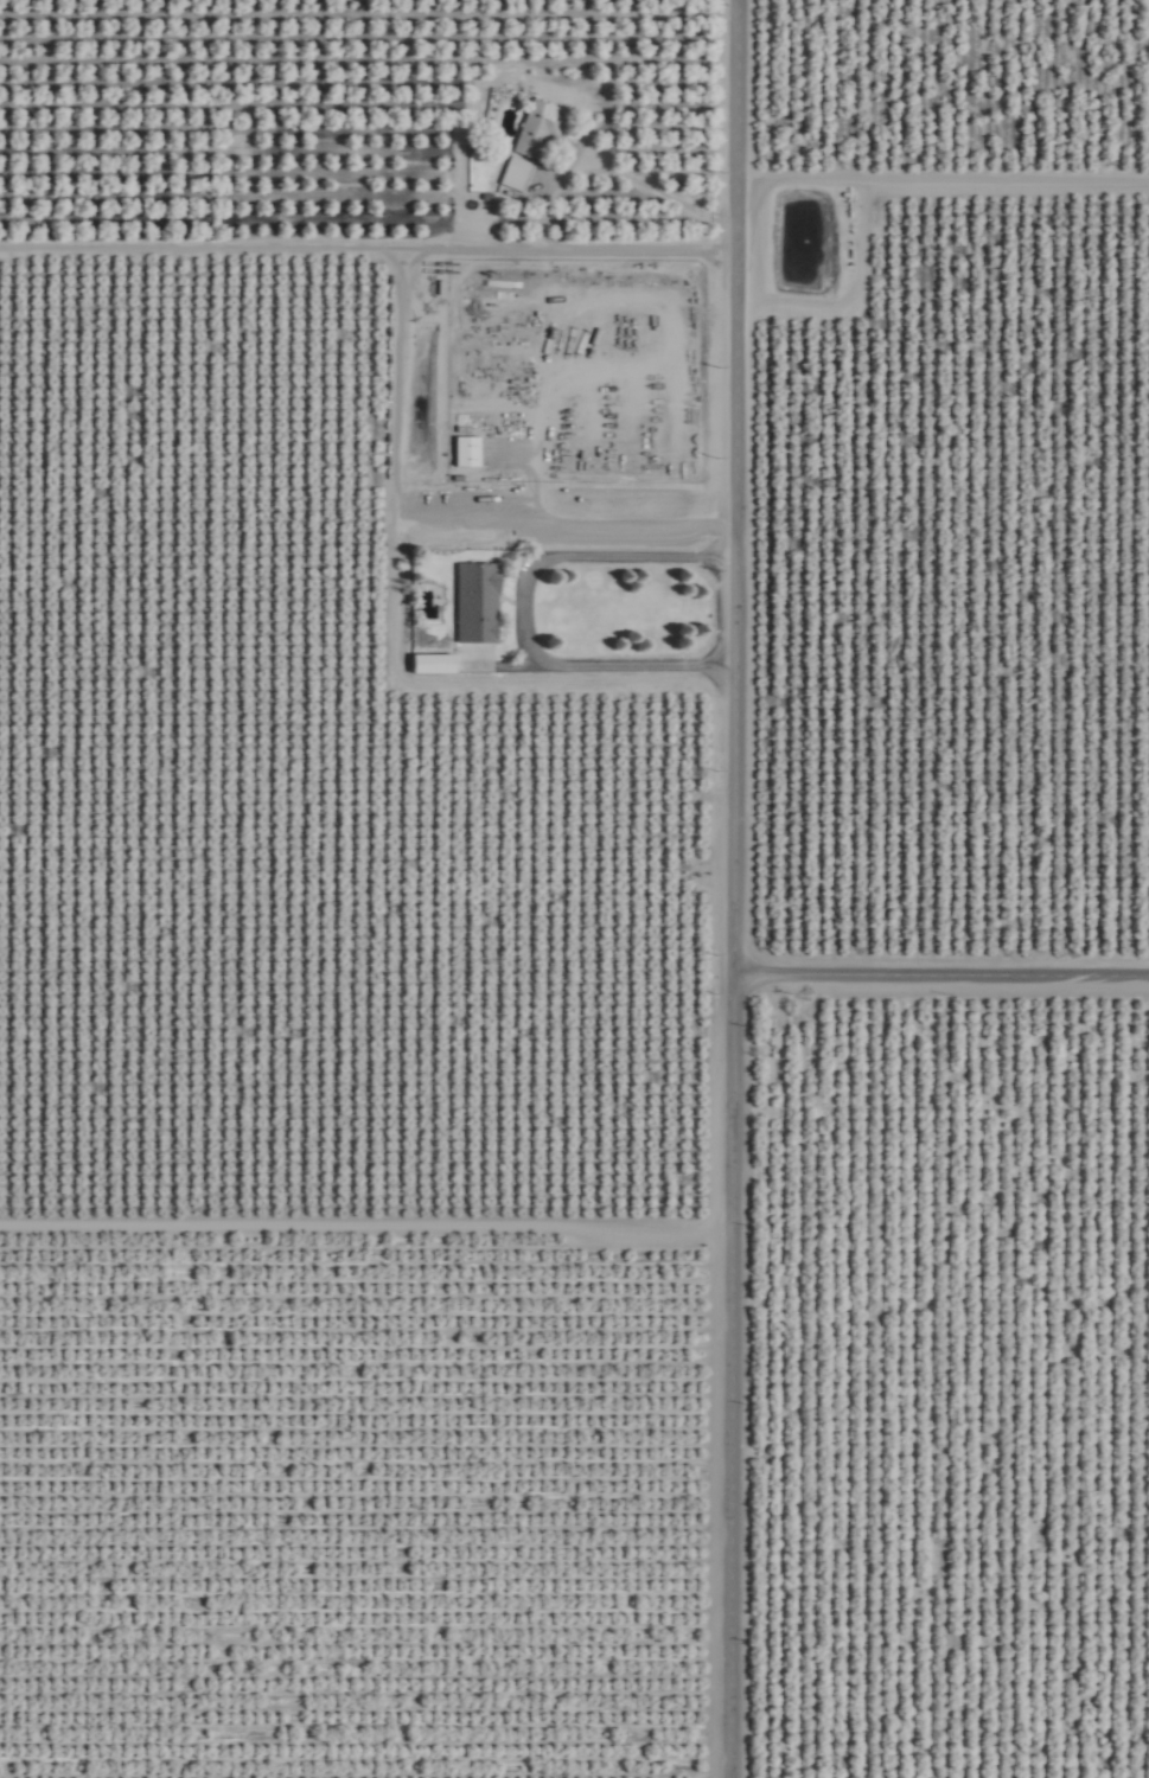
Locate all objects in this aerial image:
building: (542, 129)
building: (519, 173)
road: (1009, 180)
road: (809, 184)
road: (374, 256)
road: (858, 295)
road: (554, 523)
building: (479, 602)
road: (526, 610)
building: (433, 664)
building: (688, 792)
crop: (574, 889)
road: (746, 889)
road: (947, 973)
building: (668, 1113)
building: (649, 1210)
road: (371, 1234)

